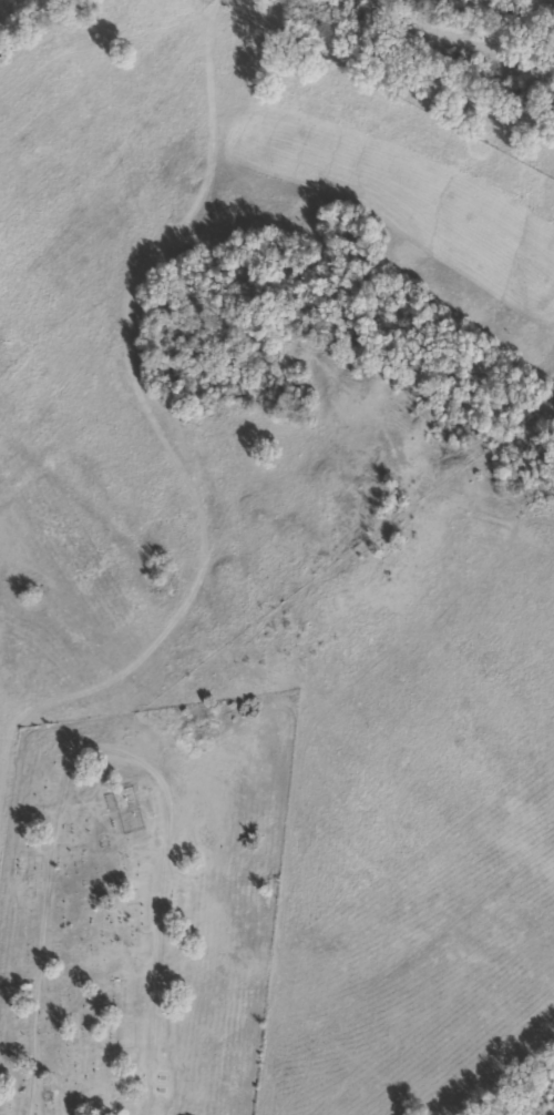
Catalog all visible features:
park: (140, 908)

